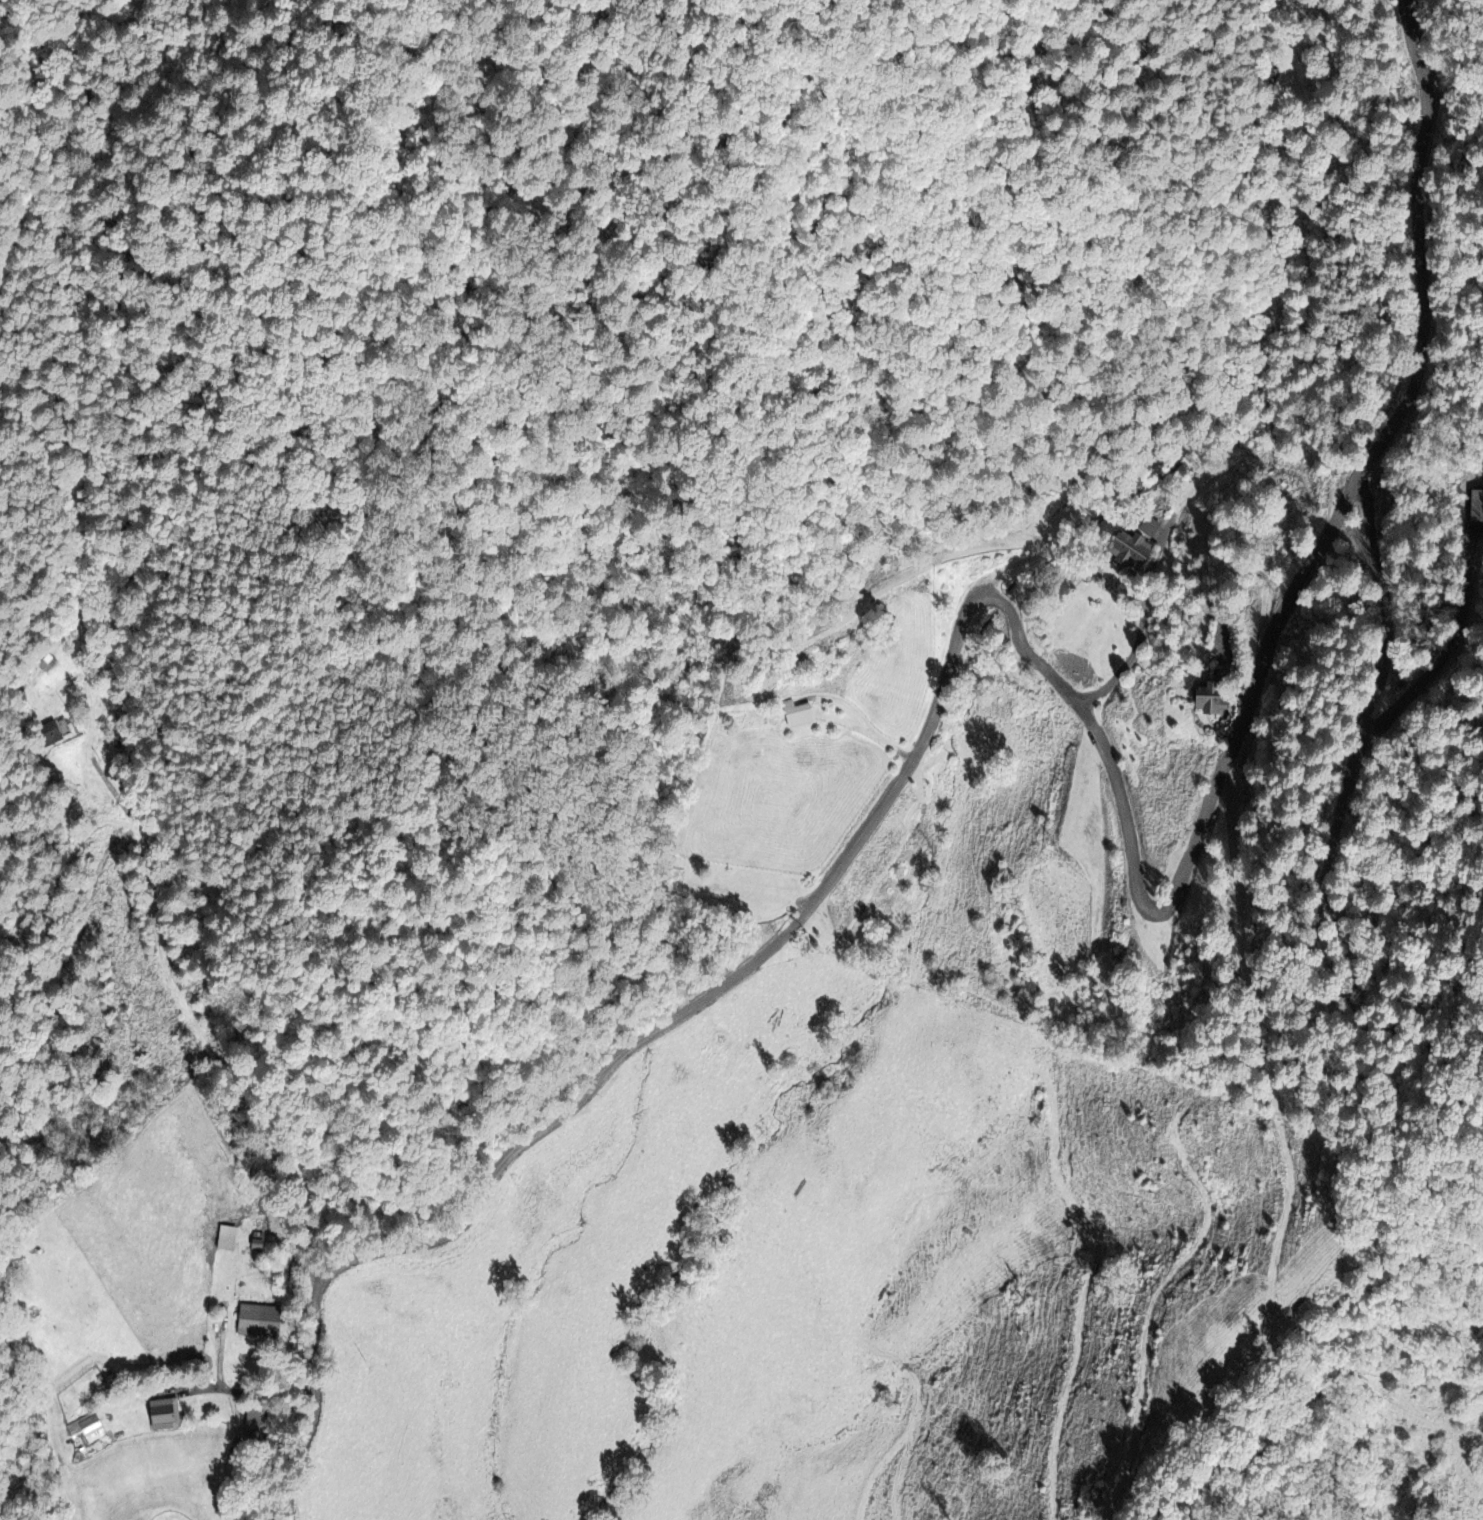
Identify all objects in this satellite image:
building: (1148, 527)
building: (1127, 550)
road: (1023, 641)
building: (1215, 693)
building: (797, 714)
building: (51, 733)
building: (225, 1238)
building: (257, 1321)
road: (260, 1392)
building: (163, 1414)
building: (252, 1424)
building: (86, 1428)

